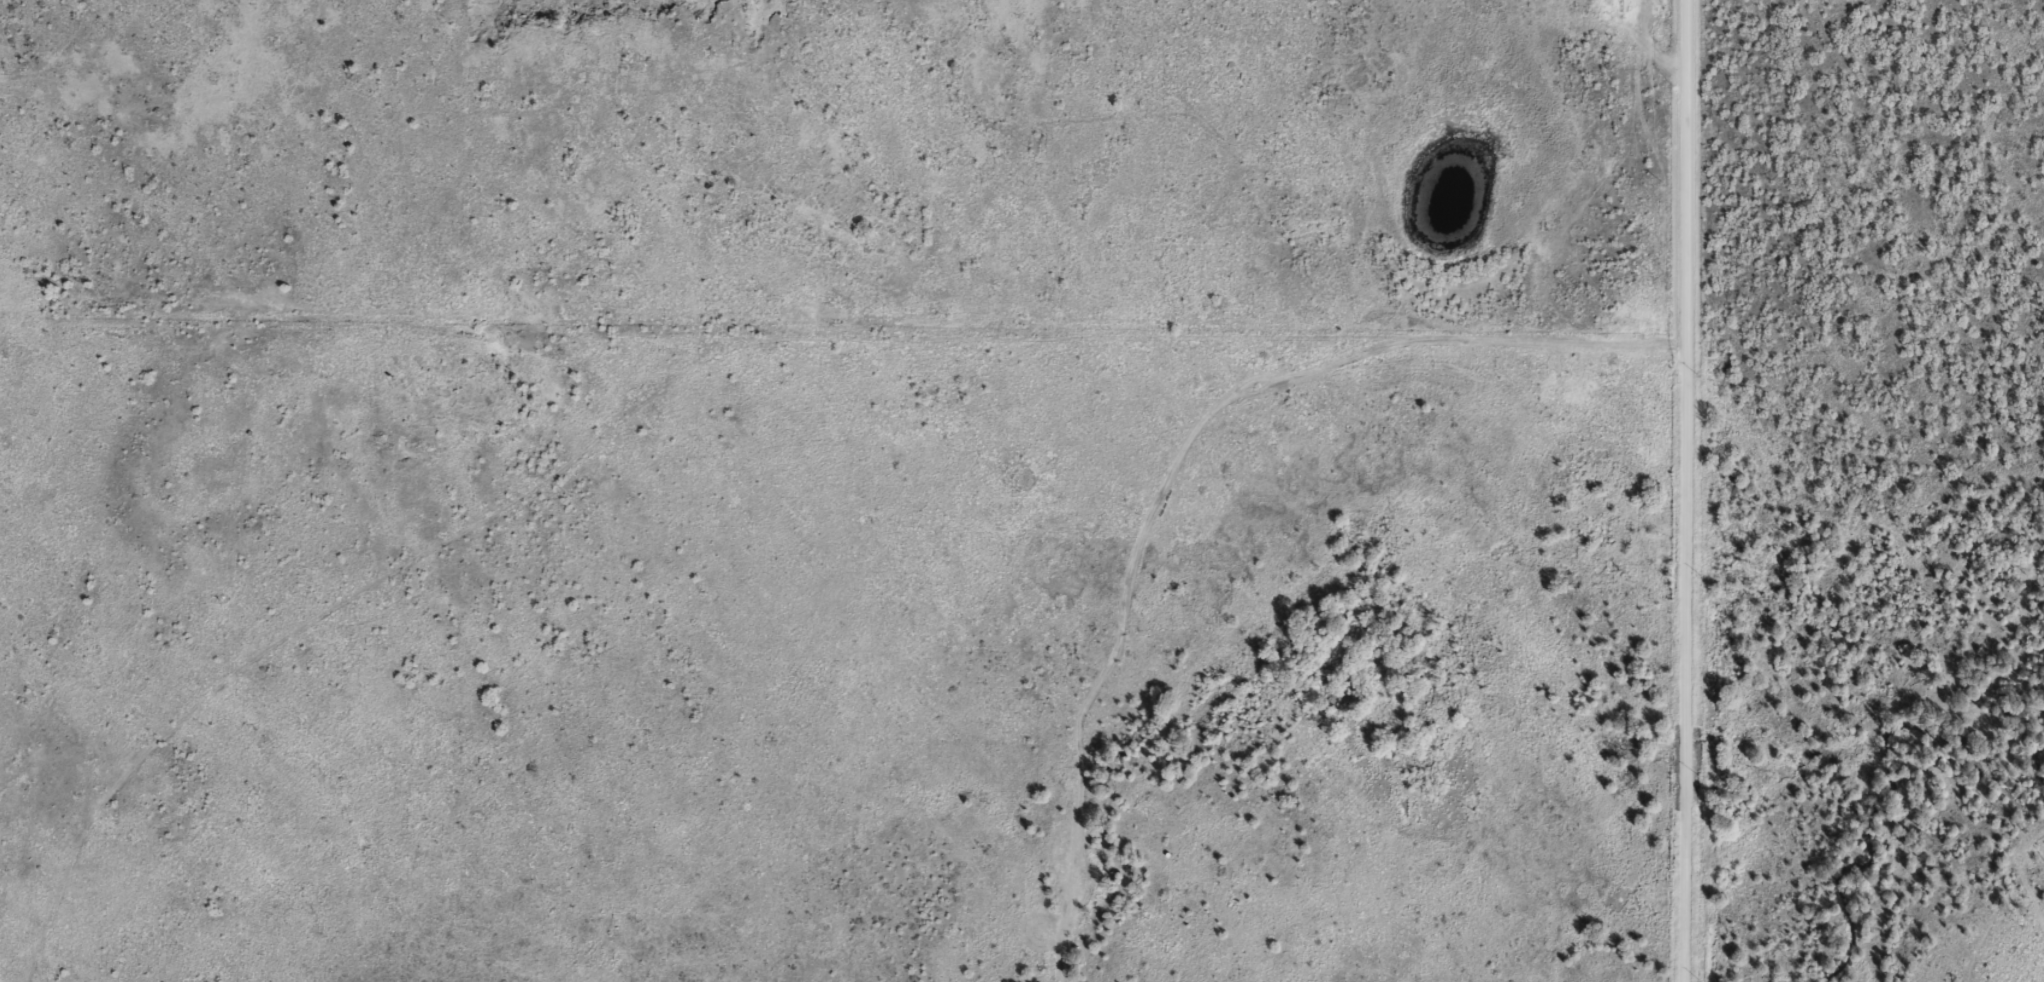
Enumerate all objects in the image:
road: (1689, 491)

